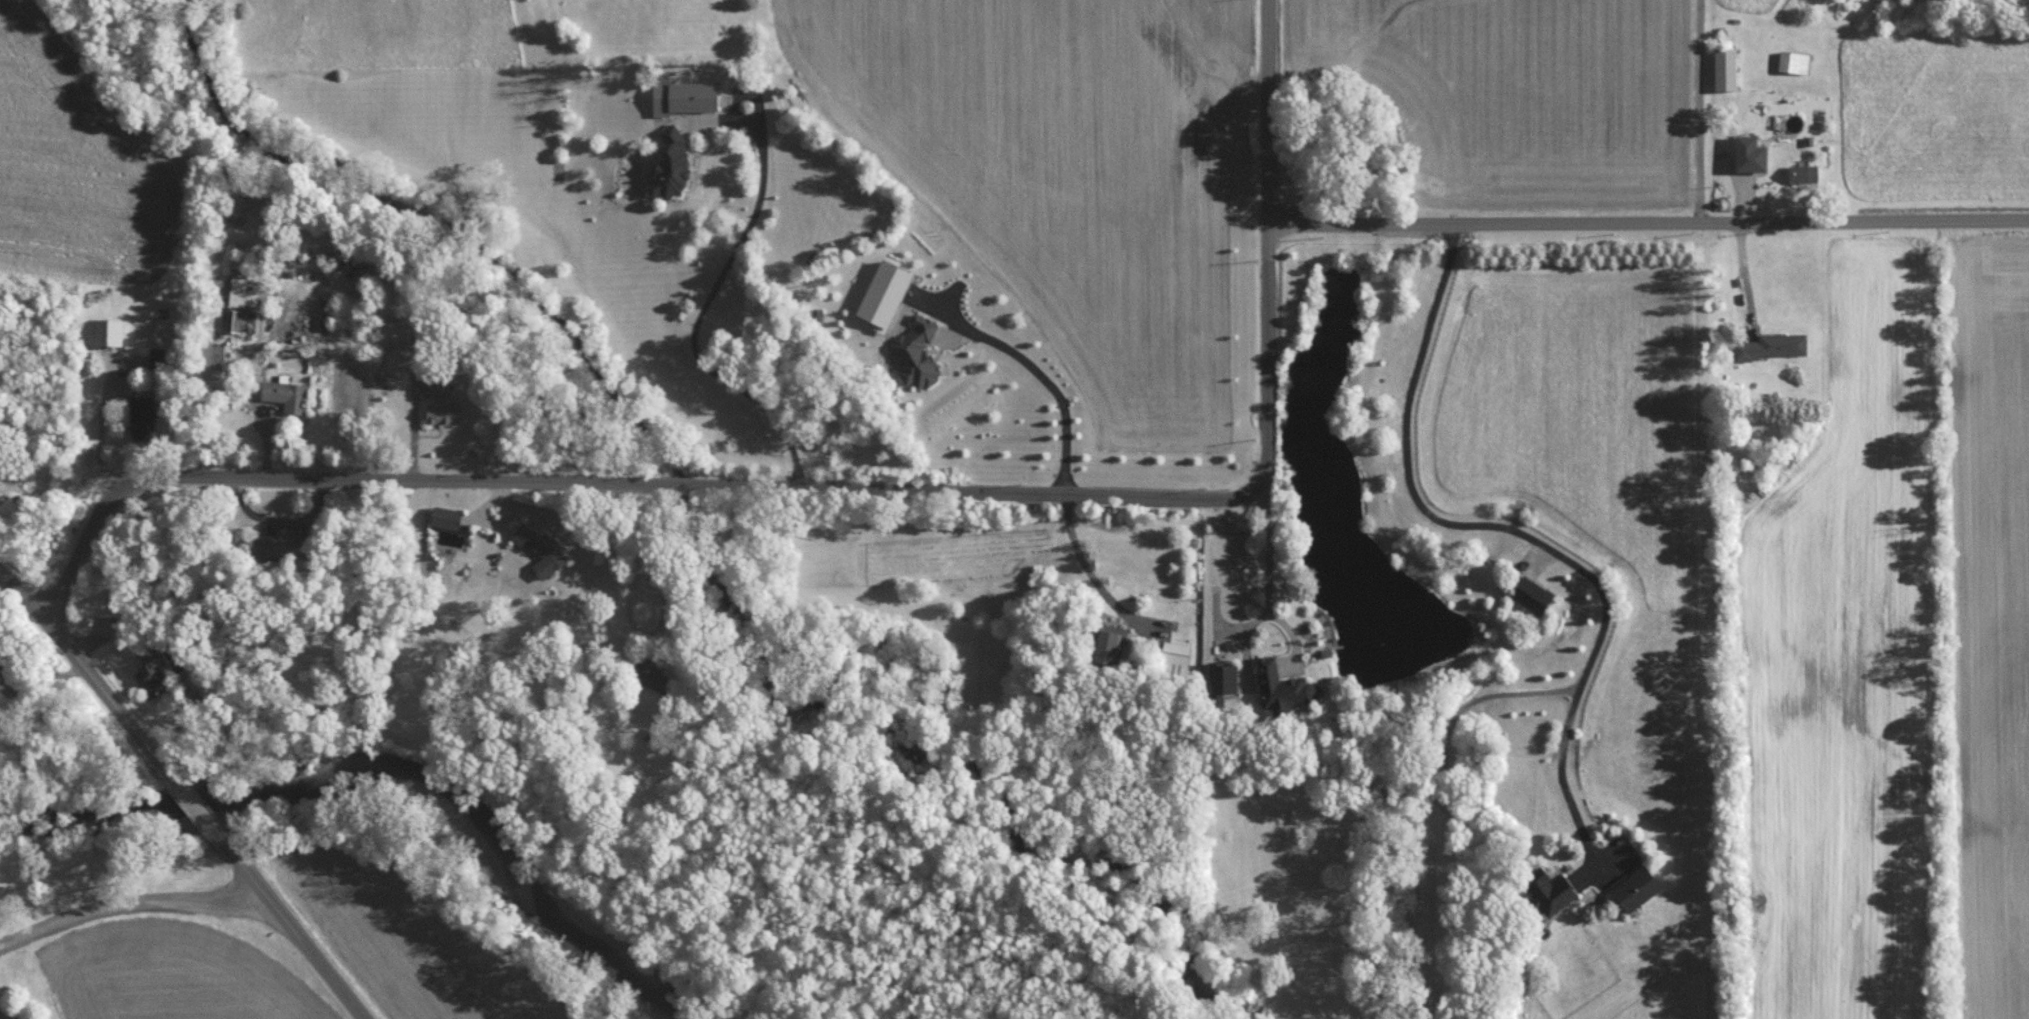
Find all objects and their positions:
building: (1794, 61)
building: (1726, 68)
building: (686, 96)
road: (1267, 110)
road: (1695, 110)
building: (1751, 153)
building: (672, 165)
building: (1803, 173)
road: (1648, 220)
road: (1748, 270)
building: (242, 292)
building: (885, 294)
road: (704, 310)
building: (233, 320)
building: (106, 331)
building: (1771, 345)
building: (917, 352)
building: (158, 357)
building: (215, 361)
road: (1043, 374)
building: (441, 387)
building: (287, 393)
building: (442, 413)
road: (104, 414)
building: (143, 416)
road: (749, 486)
building: (448, 516)
road: (1517, 532)
building: (278, 546)
building: (542, 549)
road: (1082, 556)
road: (1268, 589)
road: (661, 594)
building: (1533, 594)
building: (1109, 643)
building: (1176, 651)
road: (82, 664)
building: (151, 673)
building: (653, 675)
building: (1223, 680)
road: (36, 685)
building: (1282, 687)
road: (191, 802)
building: (1636, 887)
building: (1550, 890)
road: (126, 902)
road: (291, 931)

